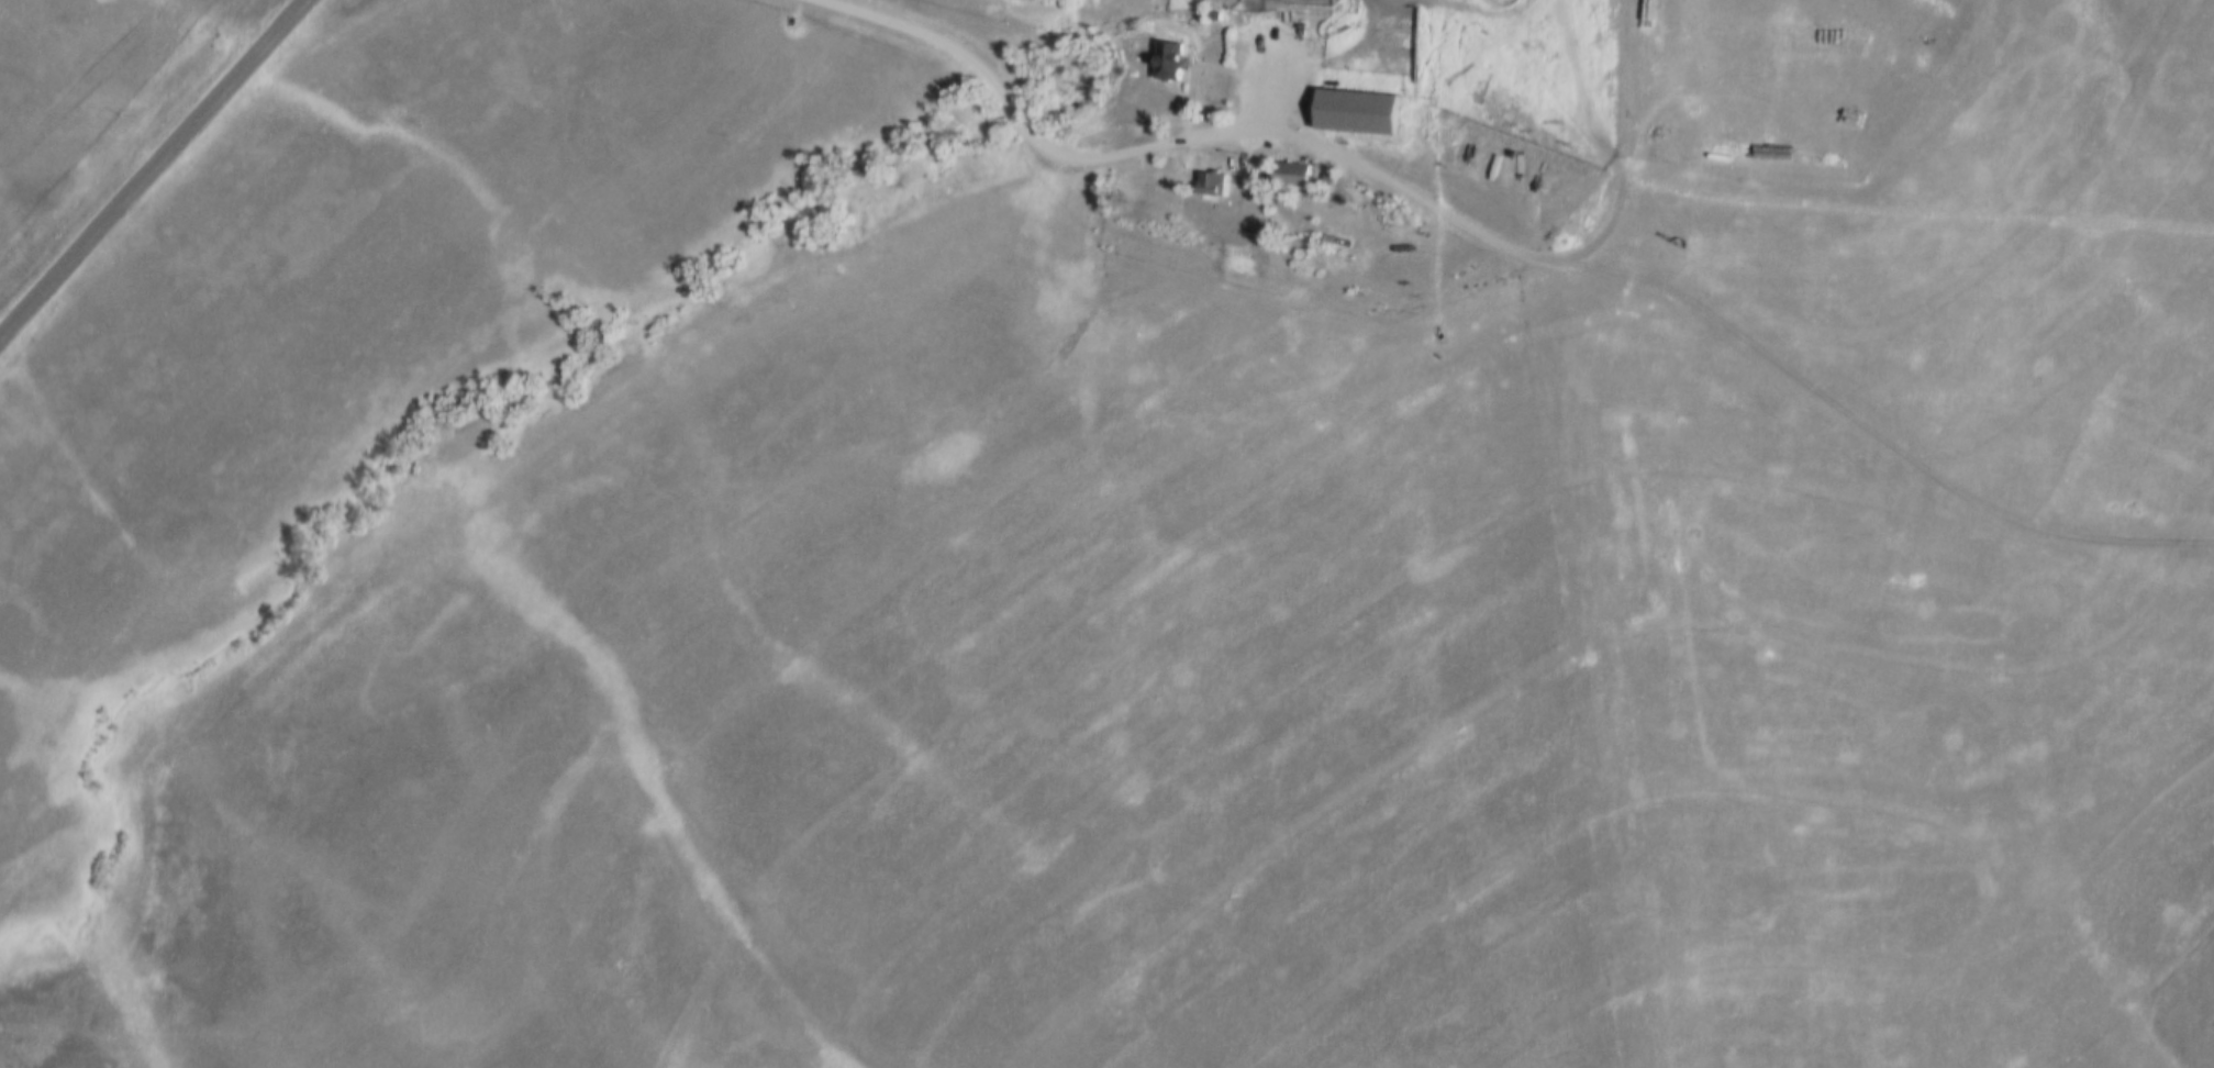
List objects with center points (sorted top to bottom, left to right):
building: (1394, 55)
building: (1168, 65)
building: (1332, 113)
road: (1179, 141)
road: (152, 171)
building: (1211, 187)
road: (1891, 314)

